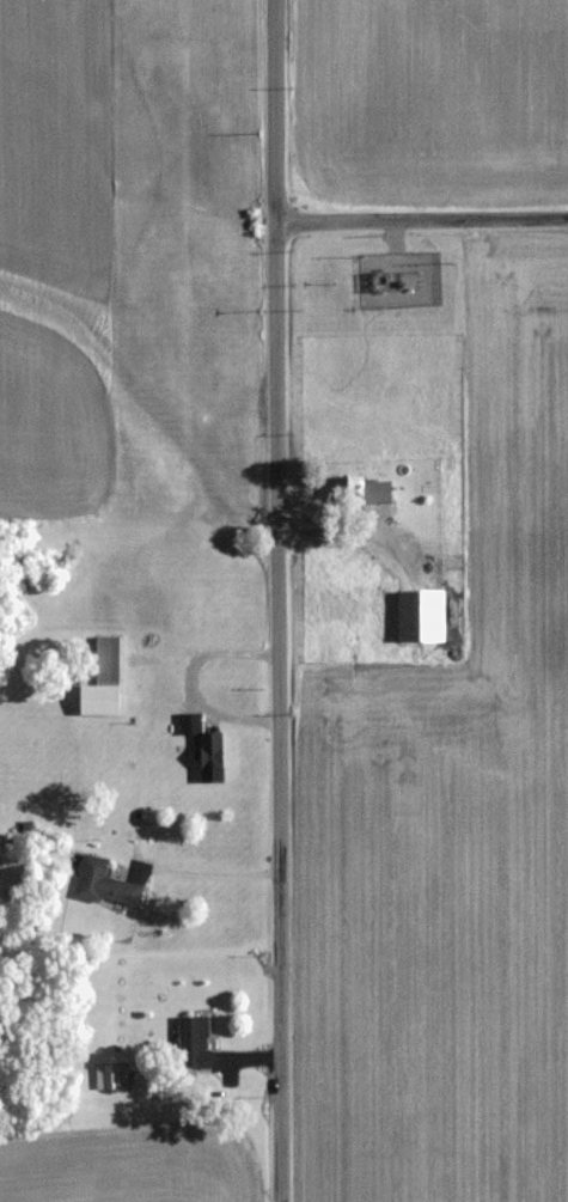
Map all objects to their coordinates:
road: (422, 218)
power substation: (403, 282)
building: (346, 490)
road: (355, 525)
road: (279, 600)
building: (417, 615)
building: (97, 694)
building: (207, 755)
road: (216, 868)

